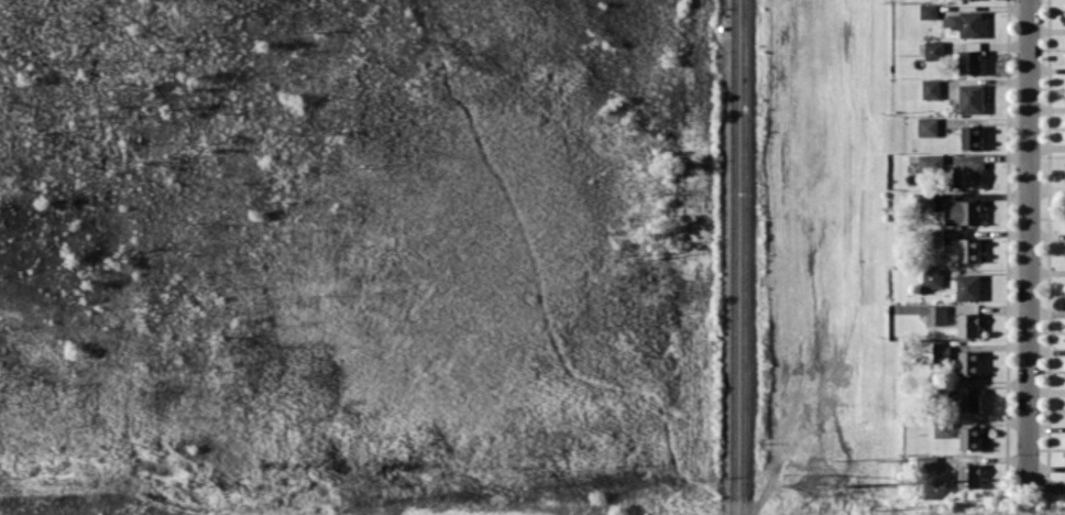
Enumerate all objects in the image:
building: (927, 10)
building: (964, 23)
building: (933, 50)
building: (969, 62)
building: (930, 88)
building: (970, 98)
building: (926, 127)
building: (970, 136)
building: (930, 162)
building: (967, 174)
building: (922, 200)
building: (963, 211)
road: (1028, 240)
building: (968, 249)
railway: (733, 257)
railway: (744, 257)
building: (932, 277)
building: (967, 286)
building: (933, 314)
building: (968, 324)
building: (941, 351)
building: (968, 362)
building: (967, 399)
building: (943, 427)
building: (970, 437)
building: (927, 462)
building: (970, 475)
road: (1046, 482)
power tower: (858, 484)
power tower: (814, 485)

